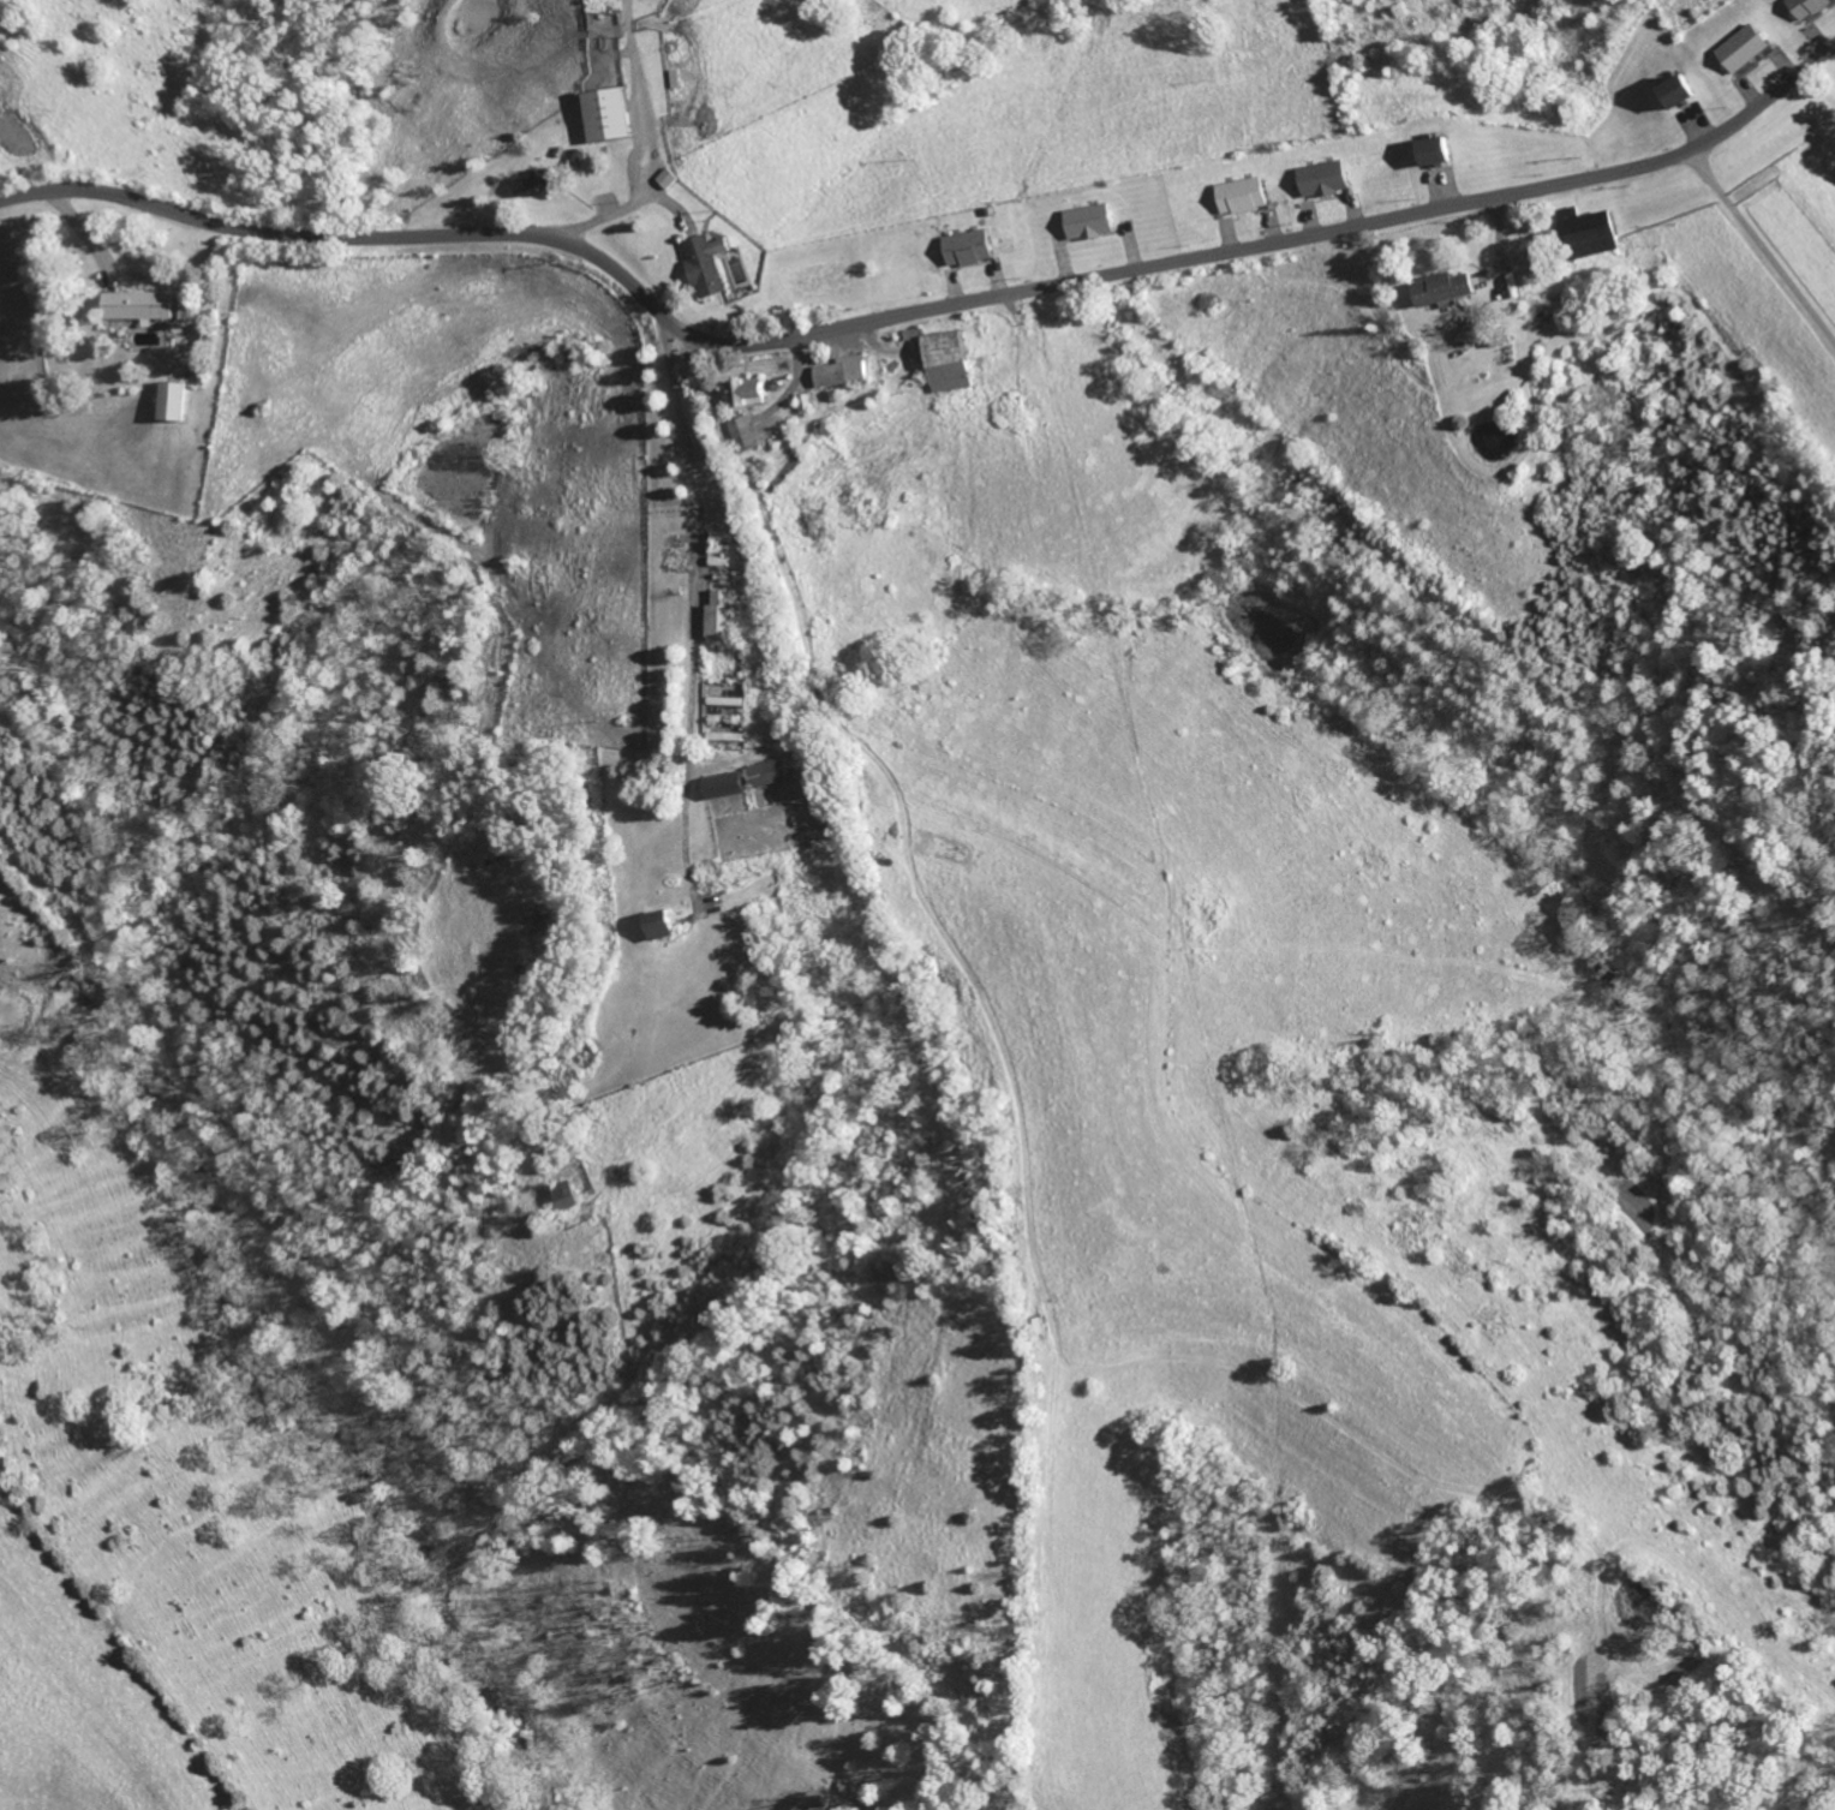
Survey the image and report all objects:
building: (1807, 7)
building: (1745, 48)
building: (1680, 92)
building: (609, 115)
building: (1439, 153)
building: (669, 179)
building: (1326, 179)
building: (533, 185)
building: (1244, 196)
building: (1090, 222)
building: (1591, 233)
road: (1761, 245)
building: (970, 249)
building: (709, 264)
building: (1444, 289)
building: (138, 306)
road: (921, 310)
building: (951, 362)
building: (845, 372)
building: (751, 393)
building: (745, 432)
road: (698, 609)
building: (724, 615)
building: (770, 773)
building: (728, 785)
building: (663, 926)
road: (893, 994)

